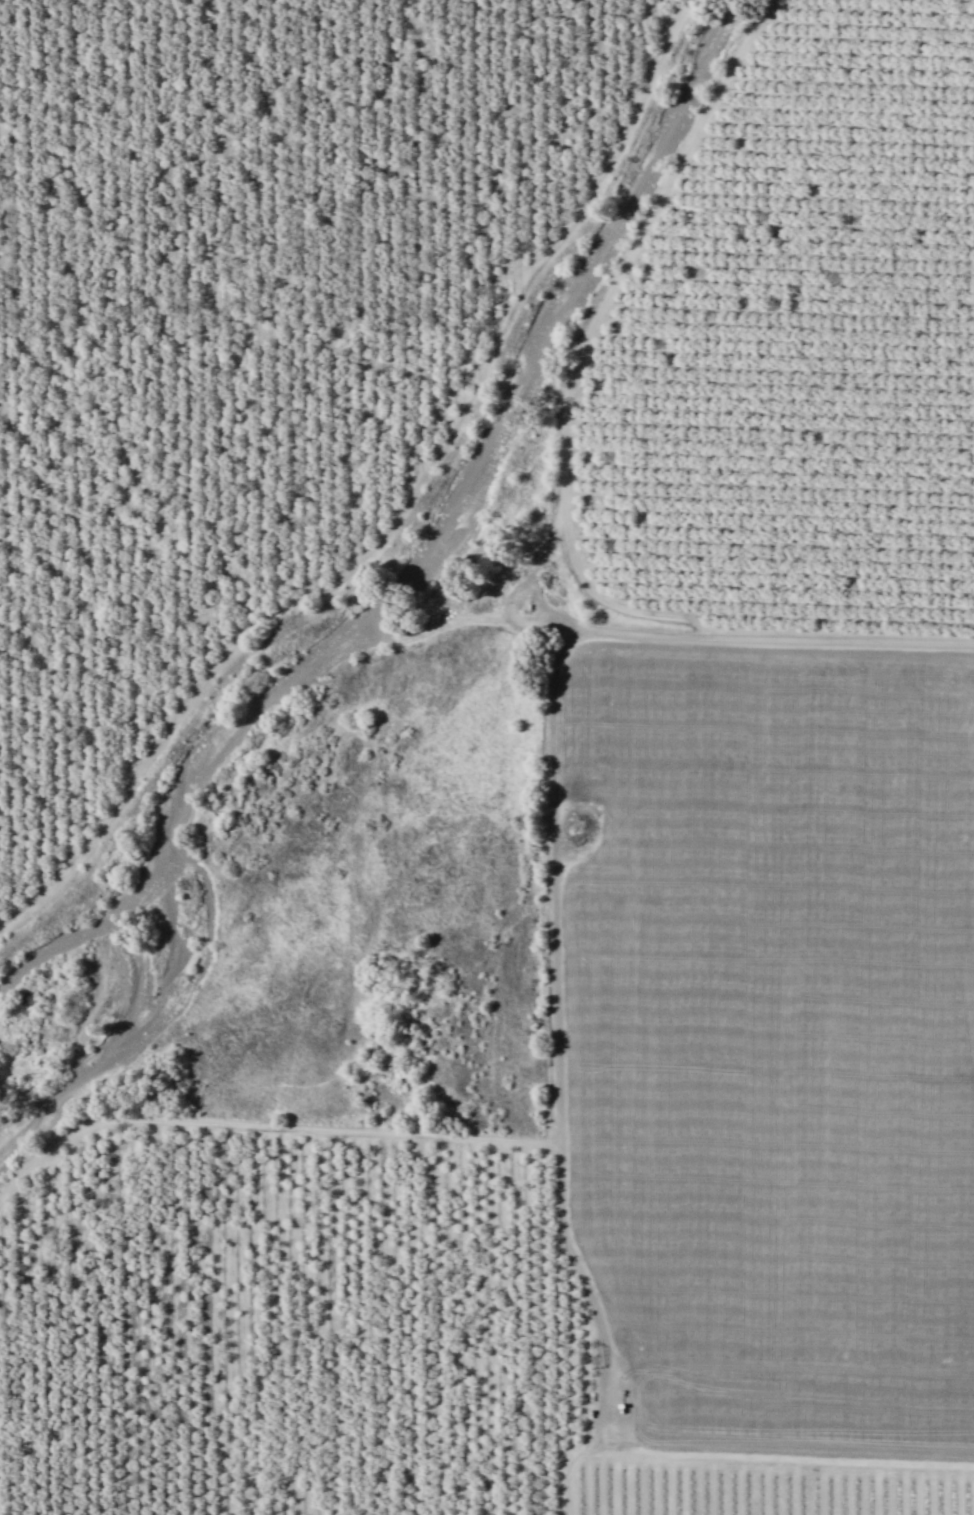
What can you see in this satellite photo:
road: (587, 340)
road: (400, 508)
road: (513, 596)
road: (761, 638)
road: (554, 1076)

